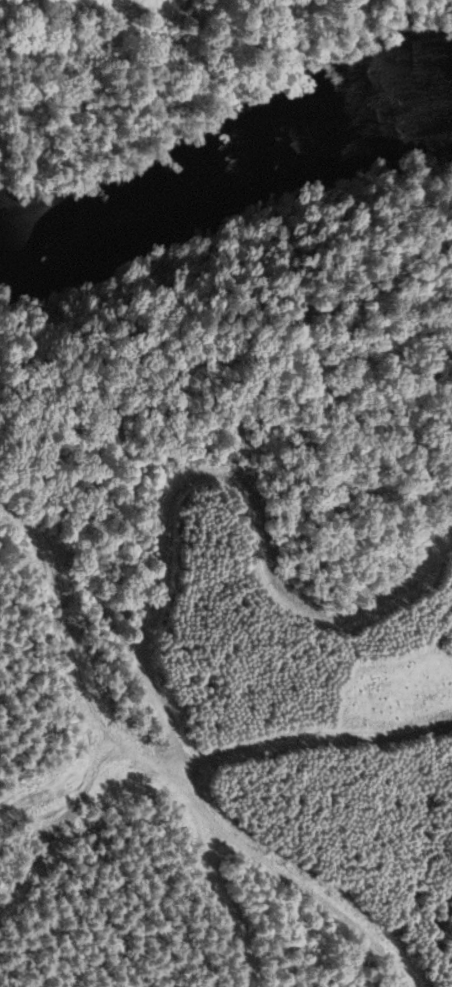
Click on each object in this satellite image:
river: (228, 168)

